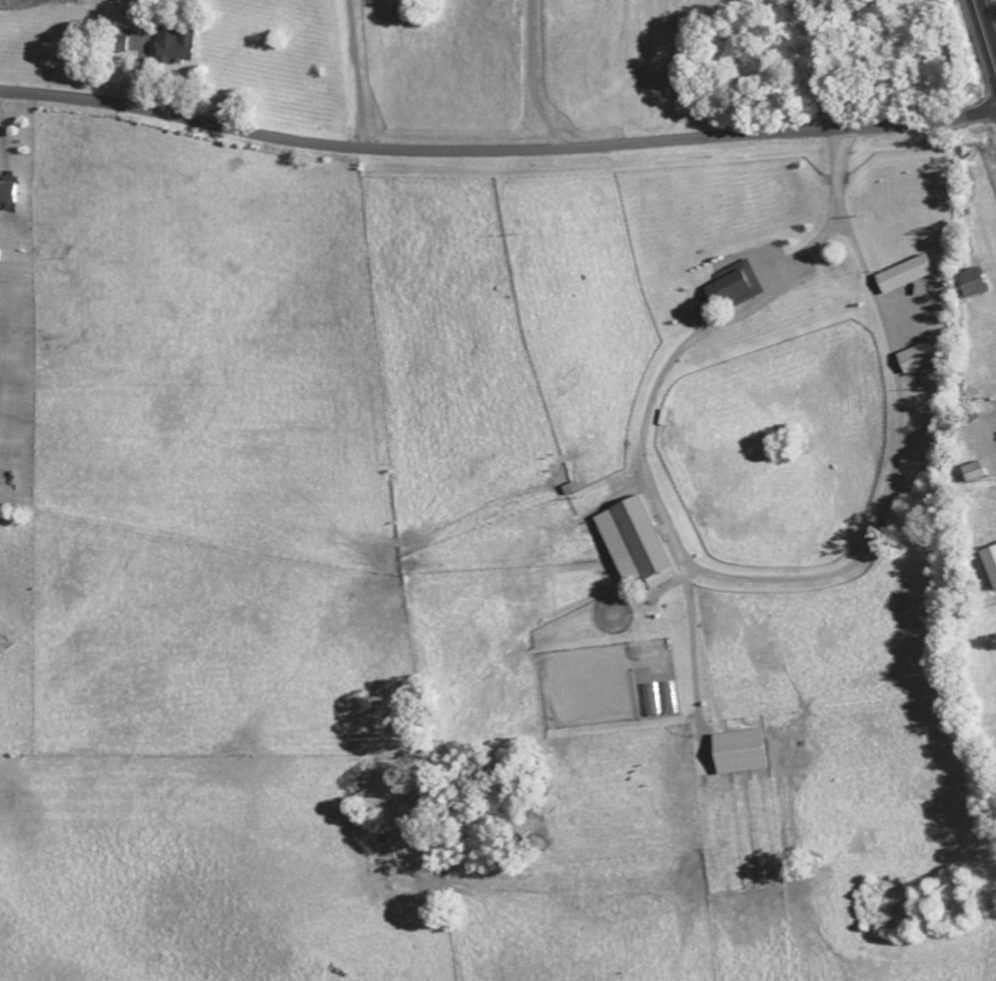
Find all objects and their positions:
road: (987, 27)
building: (131, 42)
building: (186, 44)
road: (496, 153)
building: (13, 192)
building: (915, 274)
building: (983, 282)
building: (932, 355)
building: (985, 471)
building: (644, 539)
building: (990, 561)
road: (697, 565)
building: (753, 750)

